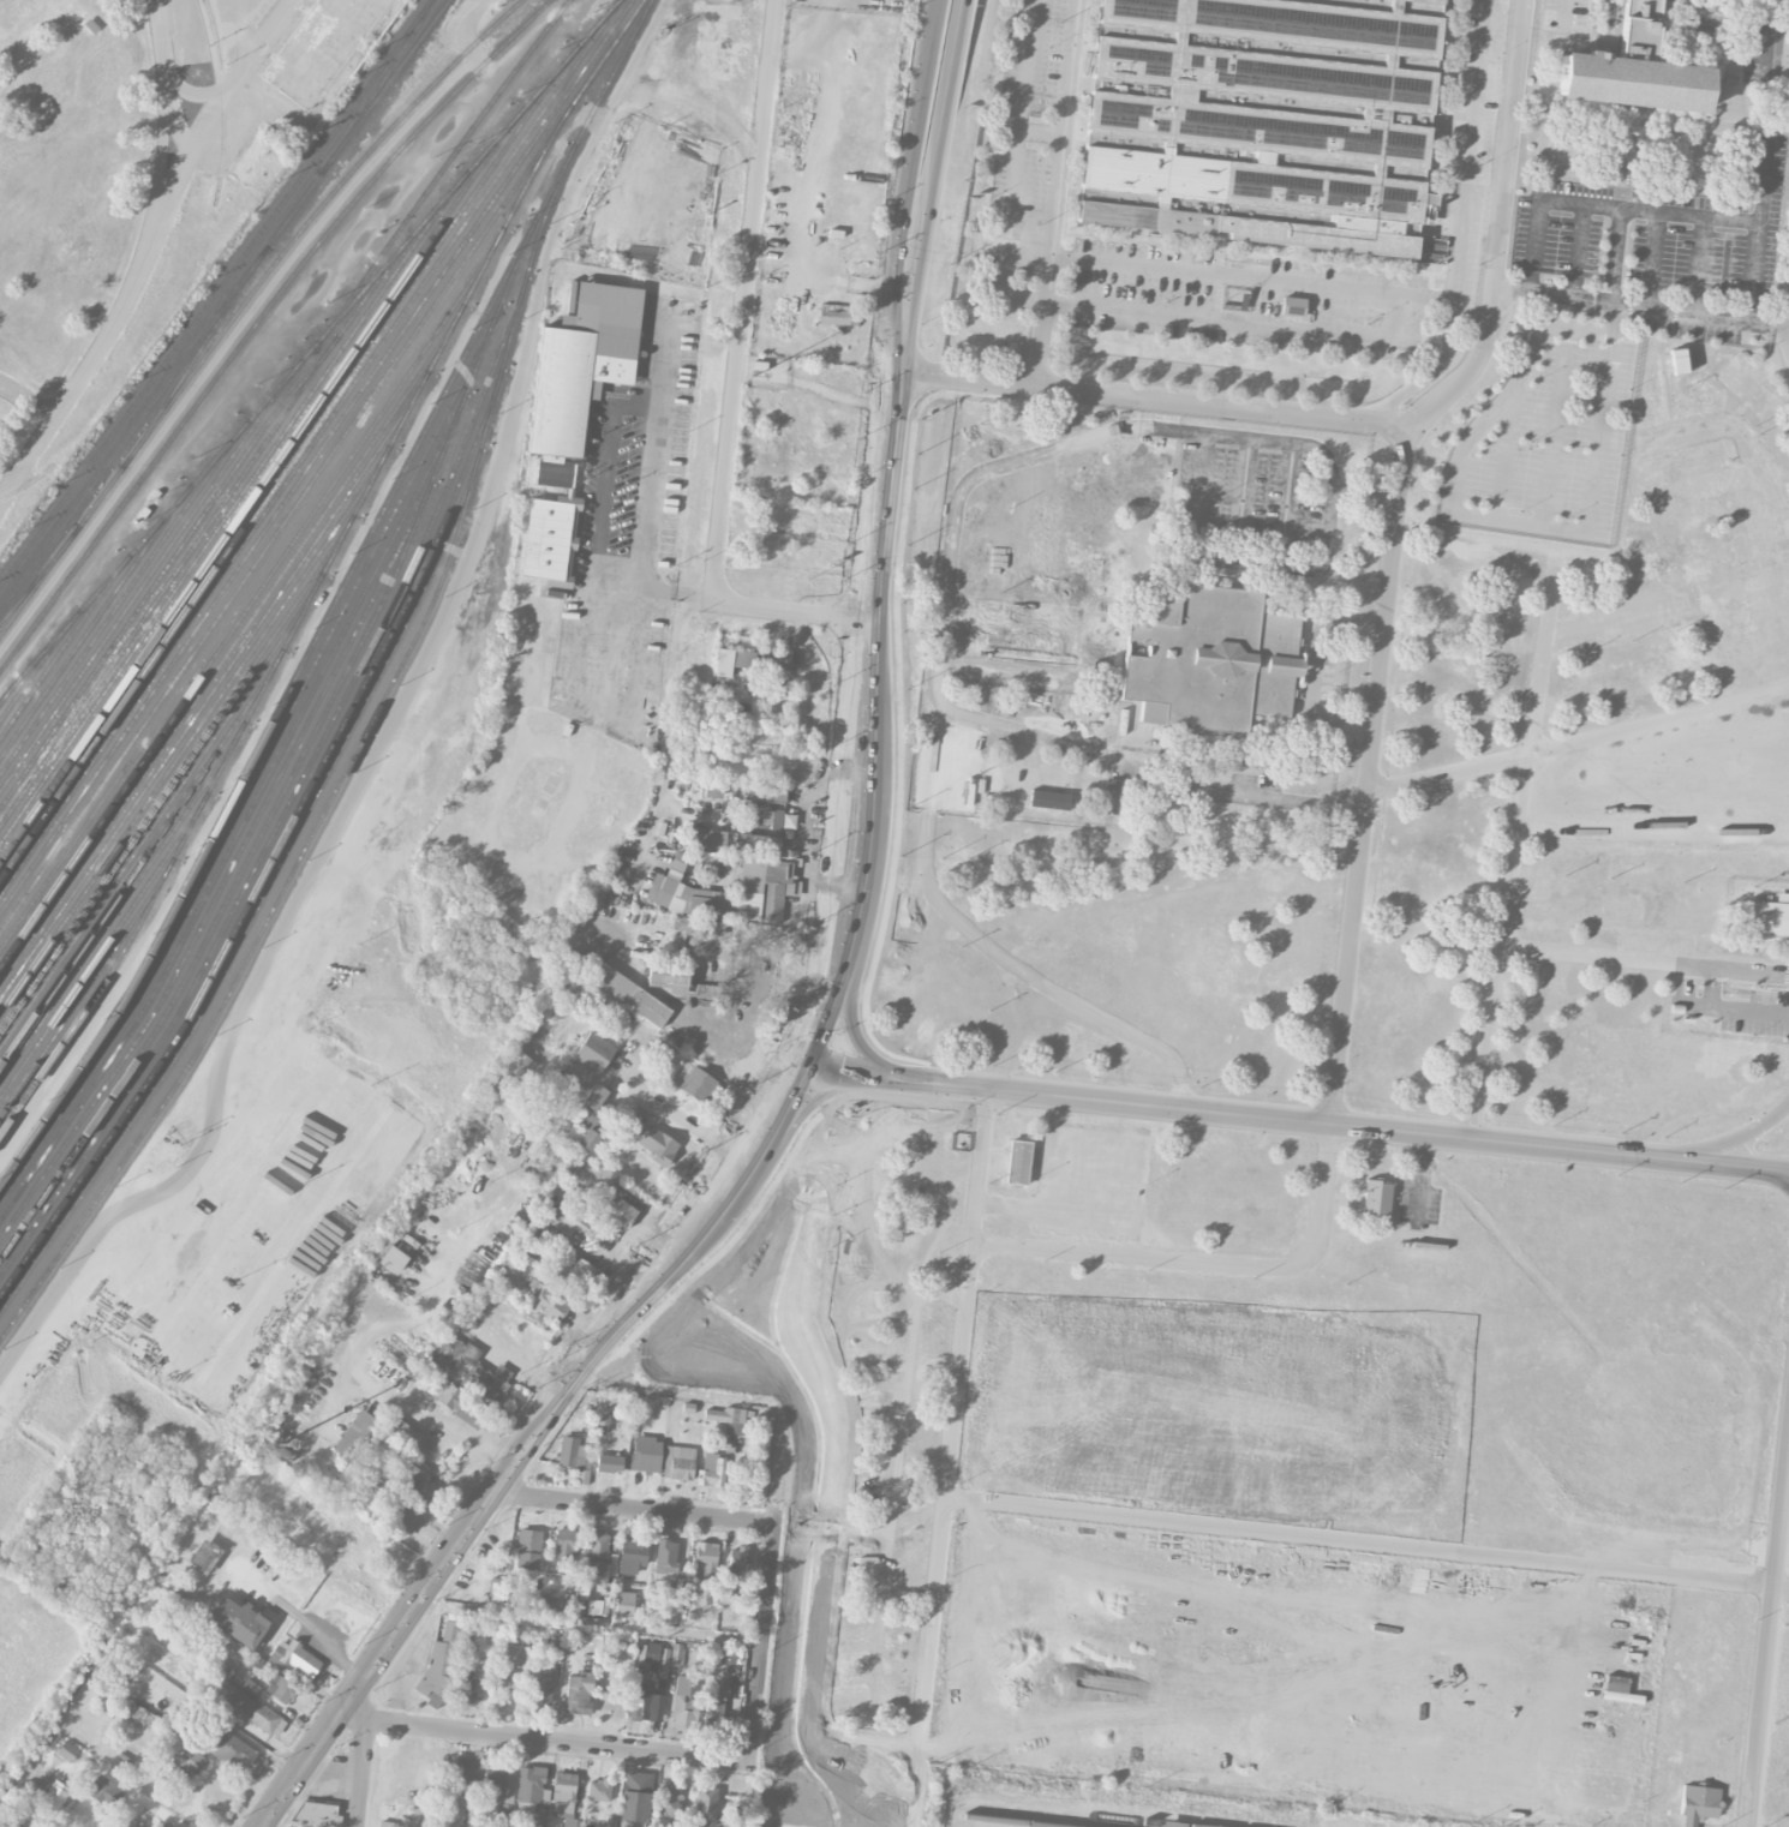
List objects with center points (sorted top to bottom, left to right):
road: (1563, 13)
parking lot: (1563, 16)
road: (237, 28)
road: (929, 30)
road: (934, 30)
building: (328, 50)
parking lot: (1764, 53)
building: (1634, 70)
railway: (377, 86)
railway: (384, 86)
railway: (223, 101)
road: (1076, 115)
road: (164, 120)
building: (1261, 120)
road: (1040, 131)
parking lot: (1470, 140)
road: (1627, 144)
railway: (451, 155)
railway: (480, 156)
parking lot: (1021, 156)
road: (1012, 168)
park: (66, 182)
road: (932, 186)
road: (1054, 193)
road: (1764, 193)
road: (1621, 196)
road: (1581, 203)
road: (904, 216)
road: (1460, 228)
parking lot: (1658, 229)
road: (1063, 238)
road: (148, 250)
road: (1579, 252)
road: (1060, 254)
road: (1650, 260)
road: (1216, 262)
road: (1216, 266)
road: (1695, 266)
road: (1395, 269)
road: (1751, 272)
road: (1250, 275)
railway: (215, 293)
parking lot: (1246, 299)
railway: (244, 301)
building: (1292, 306)
road: (1640, 309)
road: (1782, 310)
building: (838, 313)
railway: (258, 319)
road: (1772, 319)
road: (1243, 323)
parking lot: (1693, 327)
railway: (195, 357)
building: (1677, 360)
building: (581, 363)
road: (736, 379)
railway: (160, 390)
road: (29, 395)
road: (1155, 400)
road: (1555, 426)
parking lot: (1546, 436)
railway: (309, 447)
railway: (316, 456)
road: (1503, 457)
road: (608, 471)
railway: (279, 474)
railway: (255, 491)
road: (647, 496)
road: (1241, 501)
railway: (170, 507)
road: (1286, 507)
parking lot: (1254, 508)
railway: (226, 515)
road: (1488, 519)
building: (551, 523)
road: (1181, 527)
railway: (276, 531)
railway: (196, 539)
road: (1322, 539)
road: (1393, 549)
road: (1237, 563)
railway: (324, 570)
railway: (40, 571)
road: (1264, 573)
road: (949, 574)
railway: (152, 586)
road: (657, 586)
railway: (137, 592)
road: (1312, 595)
railway: (249, 603)
railway: (113, 609)
road: (1097, 611)
road: (1302, 611)
railway: (88, 629)
road: (1097, 635)
parking lot: (1017, 642)
road: (1071, 646)
railway: (61, 647)
railway: (229, 649)
building: (776, 659)
building: (1209, 659)
building: (732, 660)
parking lot: (1326, 665)
road: (1316, 667)
road: (1314, 669)
railway: (32, 672)
railway: (295, 677)
road: (403, 693)
railway: (382, 695)
railway: (205, 697)
road: (1290, 726)
road: (876, 736)
road: (1244, 739)
railway: (186, 743)
railway: (283, 743)
road: (1578, 744)
railway: (262, 762)
road: (1256, 769)
road: (1240, 781)
railway: (168, 784)
parking lot: (1255, 784)
building: (766, 792)
railway: (287, 803)
railway: (91, 814)
railway: (152, 825)
railway: (247, 834)
building: (708, 837)
building: (759, 844)
road: (1515, 850)
railway: (268, 862)
railway: (137, 865)
railway: (232, 886)
building: (761, 888)
building: (682, 892)
railway: (261, 899)
railway: (119, 907)
building: (1769, 918)
railway: (103, 946)
road: (1645, 963)
building: (711, 964)
railway: (80, 995)
building: (630, 995)
road: (857, 1032)
road: (737, 1053)
building: (587, 1060)
building: (523, 1064)
building: (699, 1085)
building: (596, 1095)
road: (810, 1101)
building: (603, 1108)
road: (1204, 1113)
road: (782, 1115)
building: (591, 1131)
road: (1731, 1137)
building: (658, 1145)
building: (778, 1155)
building: (1017, 1161)
road: (1695, 1166)
road: (979, 1176)
building: (1376, 1197)
building: (609, 1199)
building: (570, 1216)
building: (734, 1229)
road: (1087, 1253)
building: (576, 1272)
building: (544, 1300)
building: (737, 1334)
building: (689, 1350)
building: (466, 1379)
building: (726, 1418)
building: (403, 1432)
building: (354, 1434)
building: (573, 1452)
building: (645, 1454)
building: (609, 1462)
building: (678, 1462)
building: (712, 1470)
road: (503, 1476)
building: (419, 1485)
road: (632, 1509)
building: (403, 1517)
building: (564, 1543)
building: (597, 1543)
road: (1365, 1545)
building: (526, 1549)
building: (632, 1553)
building: (204, 1555)
building: (665, 1555)
building: (705, 1557)
building: (736, 1559)
building: (594, 1573)
building: (675, 1592)
building: (624, 1601)
building: (552, 1604)
road: (289, 1606)
building: (594, 1606)
building: (238, 1621)
road: (337, 1633)
road: (761, 1640)
building: (557, 1643)
road: (1769, 1646)
building: (725, 1653)
building: (514, 1654)
building: (295, 1658)
building: (669, 1658)
road: (927, 1663)
building: (438, 1664)
building: (472, 1685)
building: (540, 1685)
building: (280, 1689)
building: (578, 1693)
building: (640, 1701)
building: (682, 1701)
building: (720, 1705)
building: (247, 1708)
building: (139, 1714)
road: (546, 1739)
building: (231, 1749)
building: (67, 1750)
building: (187, 1765)
building: (465, 1767)
road: (857, 1767)
road: (361, 1772)
road: (414, 1778)
building: (493, 1784)
building: (598, 1789)
building: (104, 1791)
building: (508, 1793)
building: (532, 1793)
building: (54, 1795)
building: (563, 1797)
road: (144, 1798)
building: (634, 1798)
building: (666, 1799)
building: (706, 1803)
building: (1698, 1803)
building: (317, 1813)
building: (792, 1814)
railway: (1073, 1814)
railway: (1013, 1820)
building: (385, 1823)

